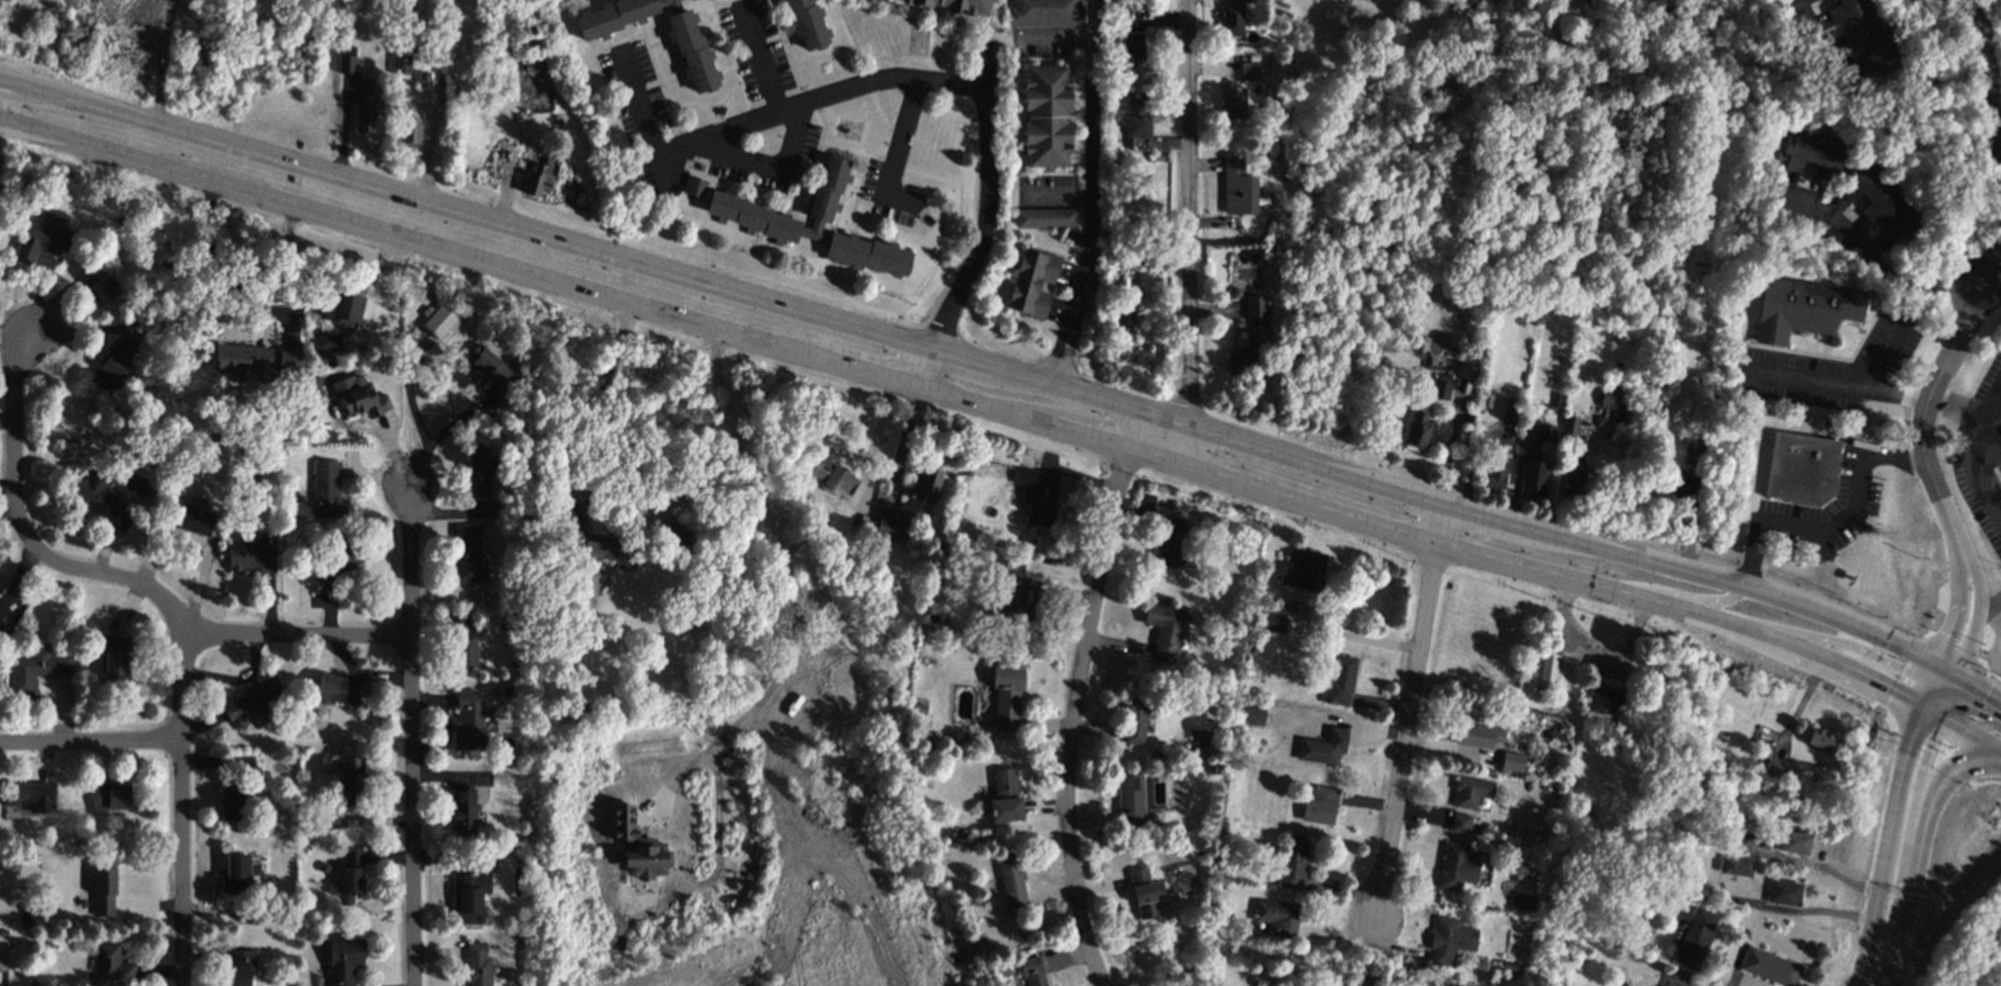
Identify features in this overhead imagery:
building: (702, 0)
building: (687, 1)
building: (950, 6)
building: (1041, 13)
building: (1236, 17)
building: (804, 24)
road: (1813, 28)
building: (1862, 36)
building: (683, 47)
building: (1133, 49)
building: (347, 60)
road: (764, 63)
building: (401, 64)
building: (1249, 70)
road: (41, 87)
road: (41, 99)
building: (398, 100)
road: (2, 101)
road: (814, 101)
building: (1232, 102)
road: (642, 107)
building: (364, 114)
building: (1040, 119)
building: (1137, 123)
road: (899, 132)
building: (409, 133)
road: (1981, 137)
building: (1807, 151)
road: (773, 166)
building: (537, 177)
building: (690, 186)
building: (1238, 187)
road: (1057, 196)
road: (1089, 196)
building: (1876, 200)
building: (1042, 218)
road: (987, 222)
building: (809, 223)
road: (1188, 231)
road: (413, 237)
building: (41, 239)
road: (1877, 257)
road: (220, 261)
building: (1028, 282)
building: (98, 283)
building: (1255, 308)
building: (1799, 308)
building: (345, 310)
building: (1123, 321)
building: (439, 322)
building: (327, 343)
building: (1248, 354)
road: (1879, 358)
building: (288, 359)
building: (242, 360)
building: (1431, 363)
building: (112, 366)
building: (491, 368)
road: (875, 371)
road: (1009, 375)
road: (1830, 386)
building: (1441, 387)
road: (599, 396)
building: (1614, 400)
building: (364, 401)
road: (990, 405)
road: (1920, 406)
building: (1511, 410)
building: (1570, 428)
building: (1418, 429)
building: (1545, 433)
road: (905, 440)
road: (435, 442)
road: (1121, 442)
road: (1446, 451)
road: (1986, 453)
road: (1971, 456)
road: (1470, 460)
building: (1797, 469)
building: (480, 473)
building: (1497, 474)
road: (1558, 474)
building: (831, 476)
building: (1572, 477)
building: (1533, 479)
building: (1684, 485)
building: (323, 494)
building: (1037, 495)
building: (101, 501)
road: (1853, 503)
building: (911, 506)
road: (1694, 514)
building: (194, 520)
building: (679, 537)
building: (1174, 544)
road: (1473, 551)
building: (253, 555)
road: (786, 555)
building: (468, 556)
road: (1752, 556)
building: (335, 565)
building: (1304, 571)
building: (1018, 602)
road: (1713, 604)
road: (1959, 604)
road: (1990, 605)
road: (1979, 606)
building: (2, 608)
road: (167, 608)
building: (1271, 622)
building: (1165, 631)
road: (294, 635)
road: (1363, 635)
road: (1778, 636)
building: (464, 641)
road: (1877, 657)
building: (116, 667)
building: (35, 669)
road: (1859, 669)
building: (1547, 670)
traffic signals: (1938, 670)
road: (233, 678)
building: (1339, 680)
traffic signals: (1932, 681)
traffic signals: (1957, 683)
building: (336, 690)
building: (1007, 698)
road: (1803, 698)
building: (254, 699)
road: (1078, 699)
building: (1605, 701)
traffic signals: (1920, 704)
road: (1932, 711)
road: (1408, 713)
building: (1254, 715)
traffic signals: (1944, 718)
building: (1135, 721)
building: (468, 722)
road: (1972, 735)
building: (1479, 736)
road: (410, 737)
building: (1819, 739)
road: (90, 742)
building: (1323, 747)
building: (1512, 762)
building: (242, 763)
building: (1771, 770)
building: (351, 778)
building: (1470, 792)
building: (29, 796)
building: (110, 797)
building: (1005, 797)
building: (1130, 801)
building: (1320, 805)
building: (232, 806)
building: (464, 811)
road: (1932, 812)
building: (1460, 823)
road: (1891, 826)
road: (1915, 832)
building: (1742, 841)
building: (1795, 843)
building: (638, 846)
building: (1293, 863)
building: (1734, 866)
building: (1456, 868)
building: (238, 874)
building: (349, 877)
road: (1837, 877)
building: (1012, 883)
building: (104, 890)
building: (1144, 893)
building: (1785, 893)
building: (469, 896)
building: (1522, 902)
road: (1808, 912)
building: (1277, 917)
building: (1695, 939)
building: (1449, 940)
building: (344, 960)
building: (111, 964)
building: (477, 965)
building: (239, 967)
building: (1769, 967)
building: (1510, 968)
building: (1033, 971)
road: (1677, 984)

